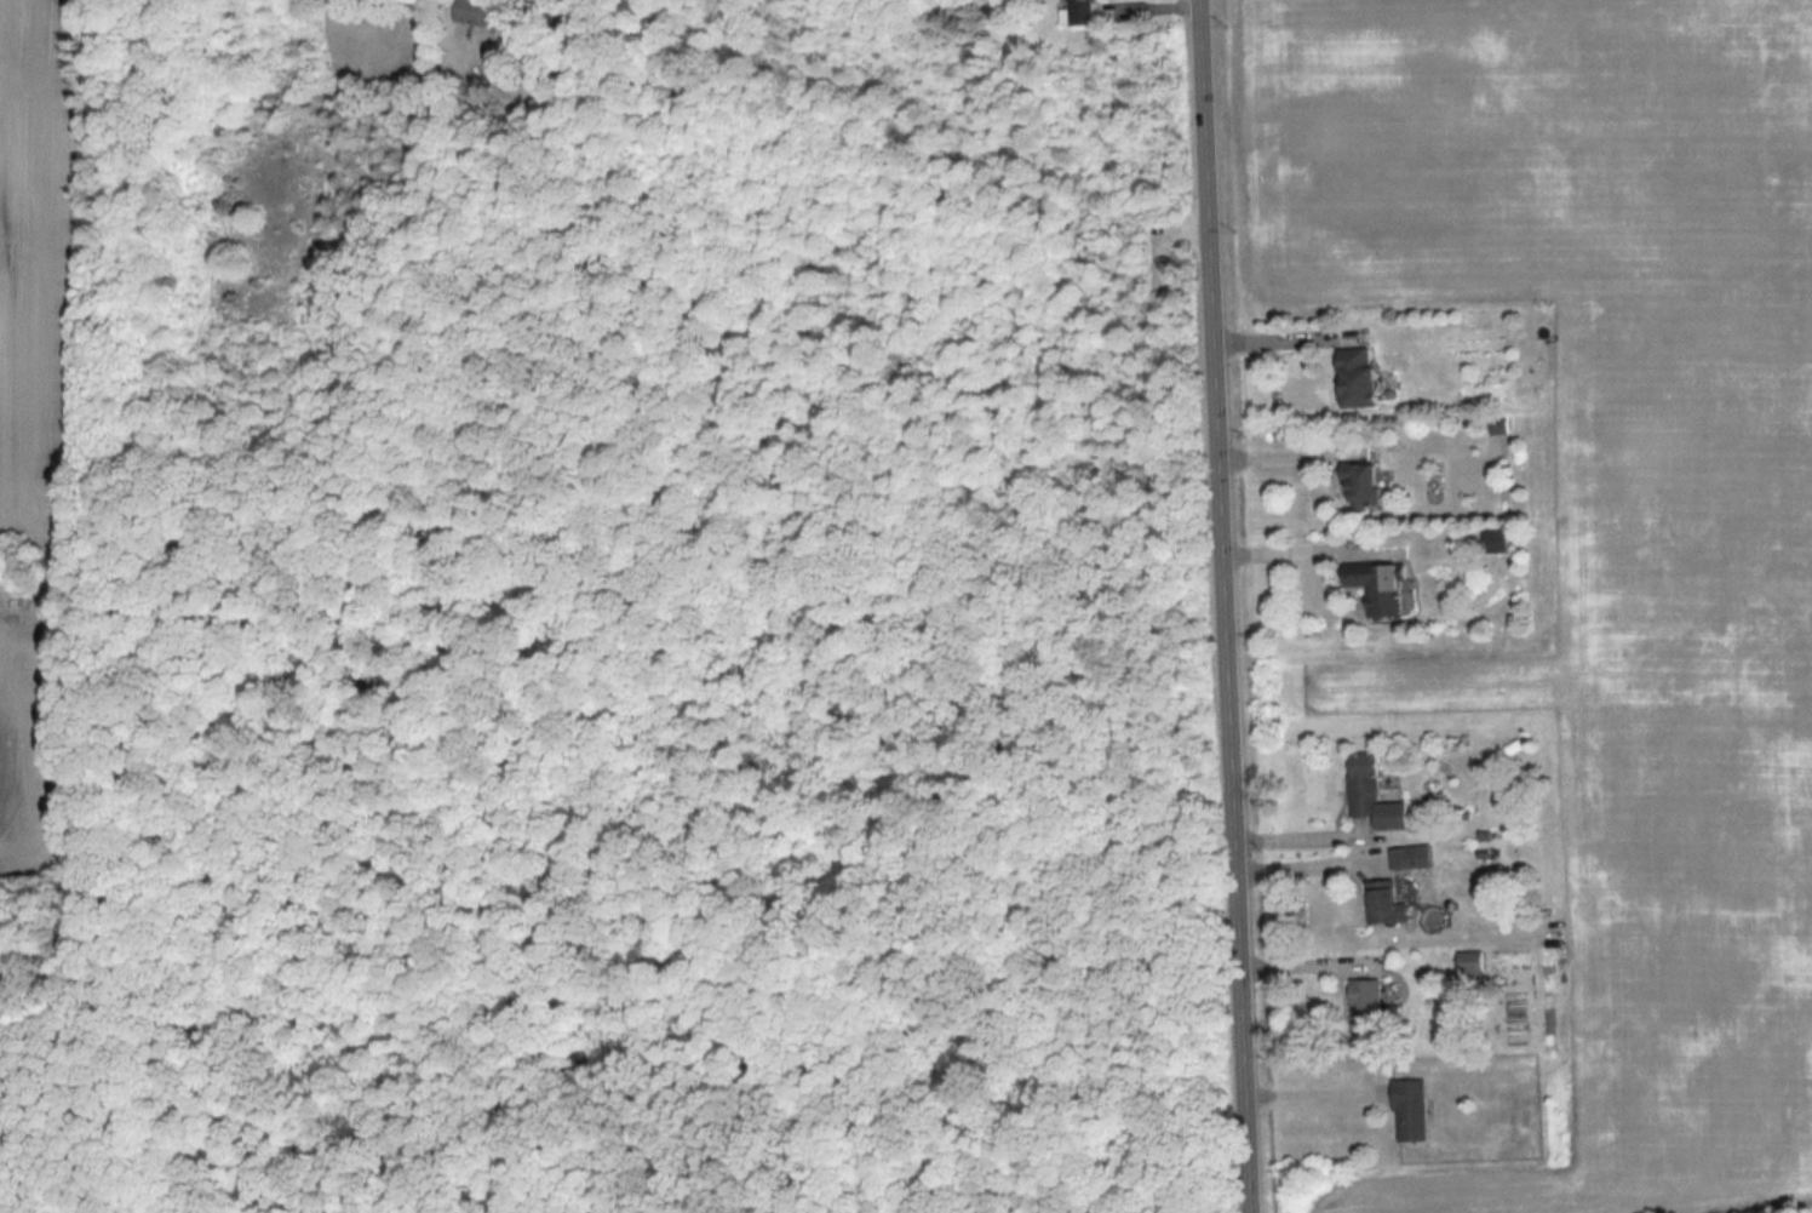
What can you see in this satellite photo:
building: (476, 12)
building: (1077, 12)
road: (1211, 182)
road: (1160, 234)
parking lot: (1162, 256)
crop: (40, 270)
building: (1357, 377)
building: (1497, 425)
building: (1361, 482)
crop: (1604, 516)
building: (1495, 540)
building: (1376, 584)
road: (144, 665)
road: (465, 742)
crop: (29, 756)
road: (1239, 788)
building: (1375, 794)
building: (1411, 857)
road: (1311, 865)
building: (1387, 904)
building: (1374, 1015)
road: (143, 1075)
building: (1412, 1110)

